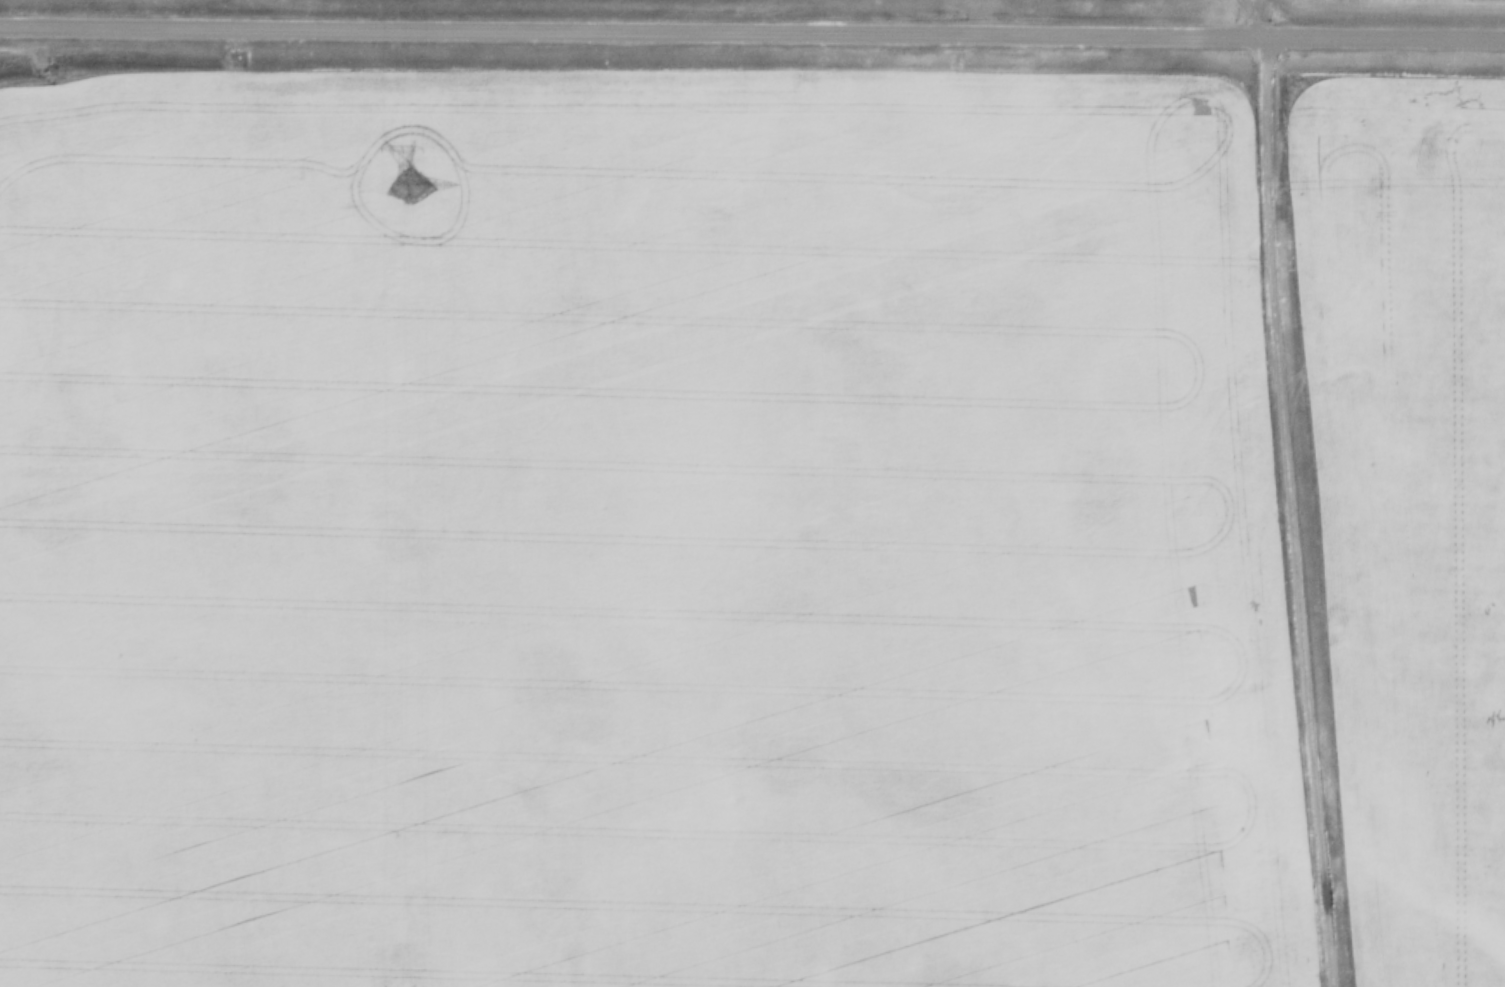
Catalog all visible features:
road: (752, 32)
power tower: (410, 182)
road: (1282, 511)

